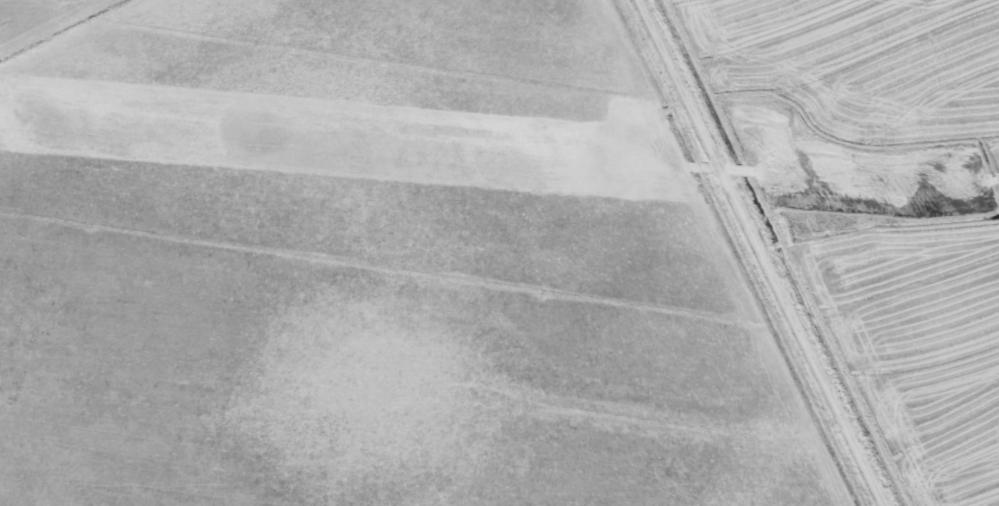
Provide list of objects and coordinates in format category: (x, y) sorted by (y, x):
road: (765, 253)

